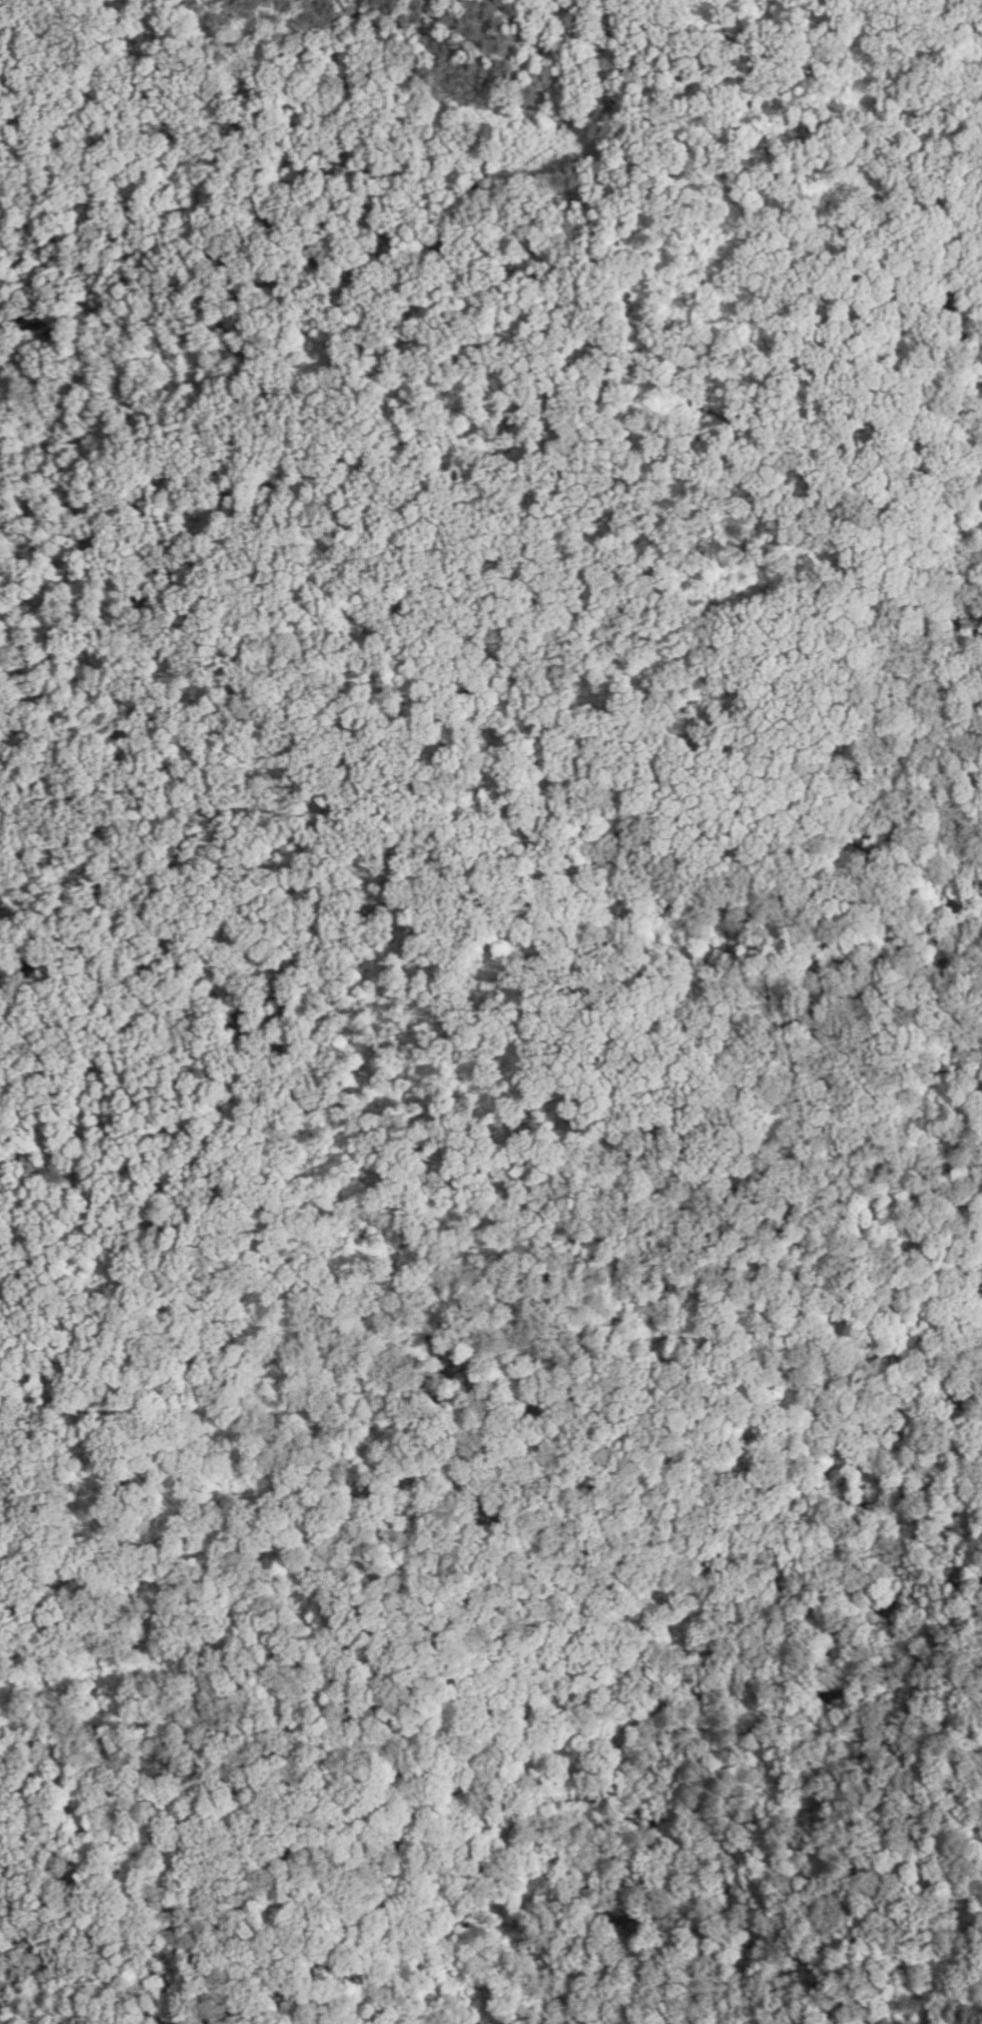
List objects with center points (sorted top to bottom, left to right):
road: (636, 1617)
road: (801, 1747)

